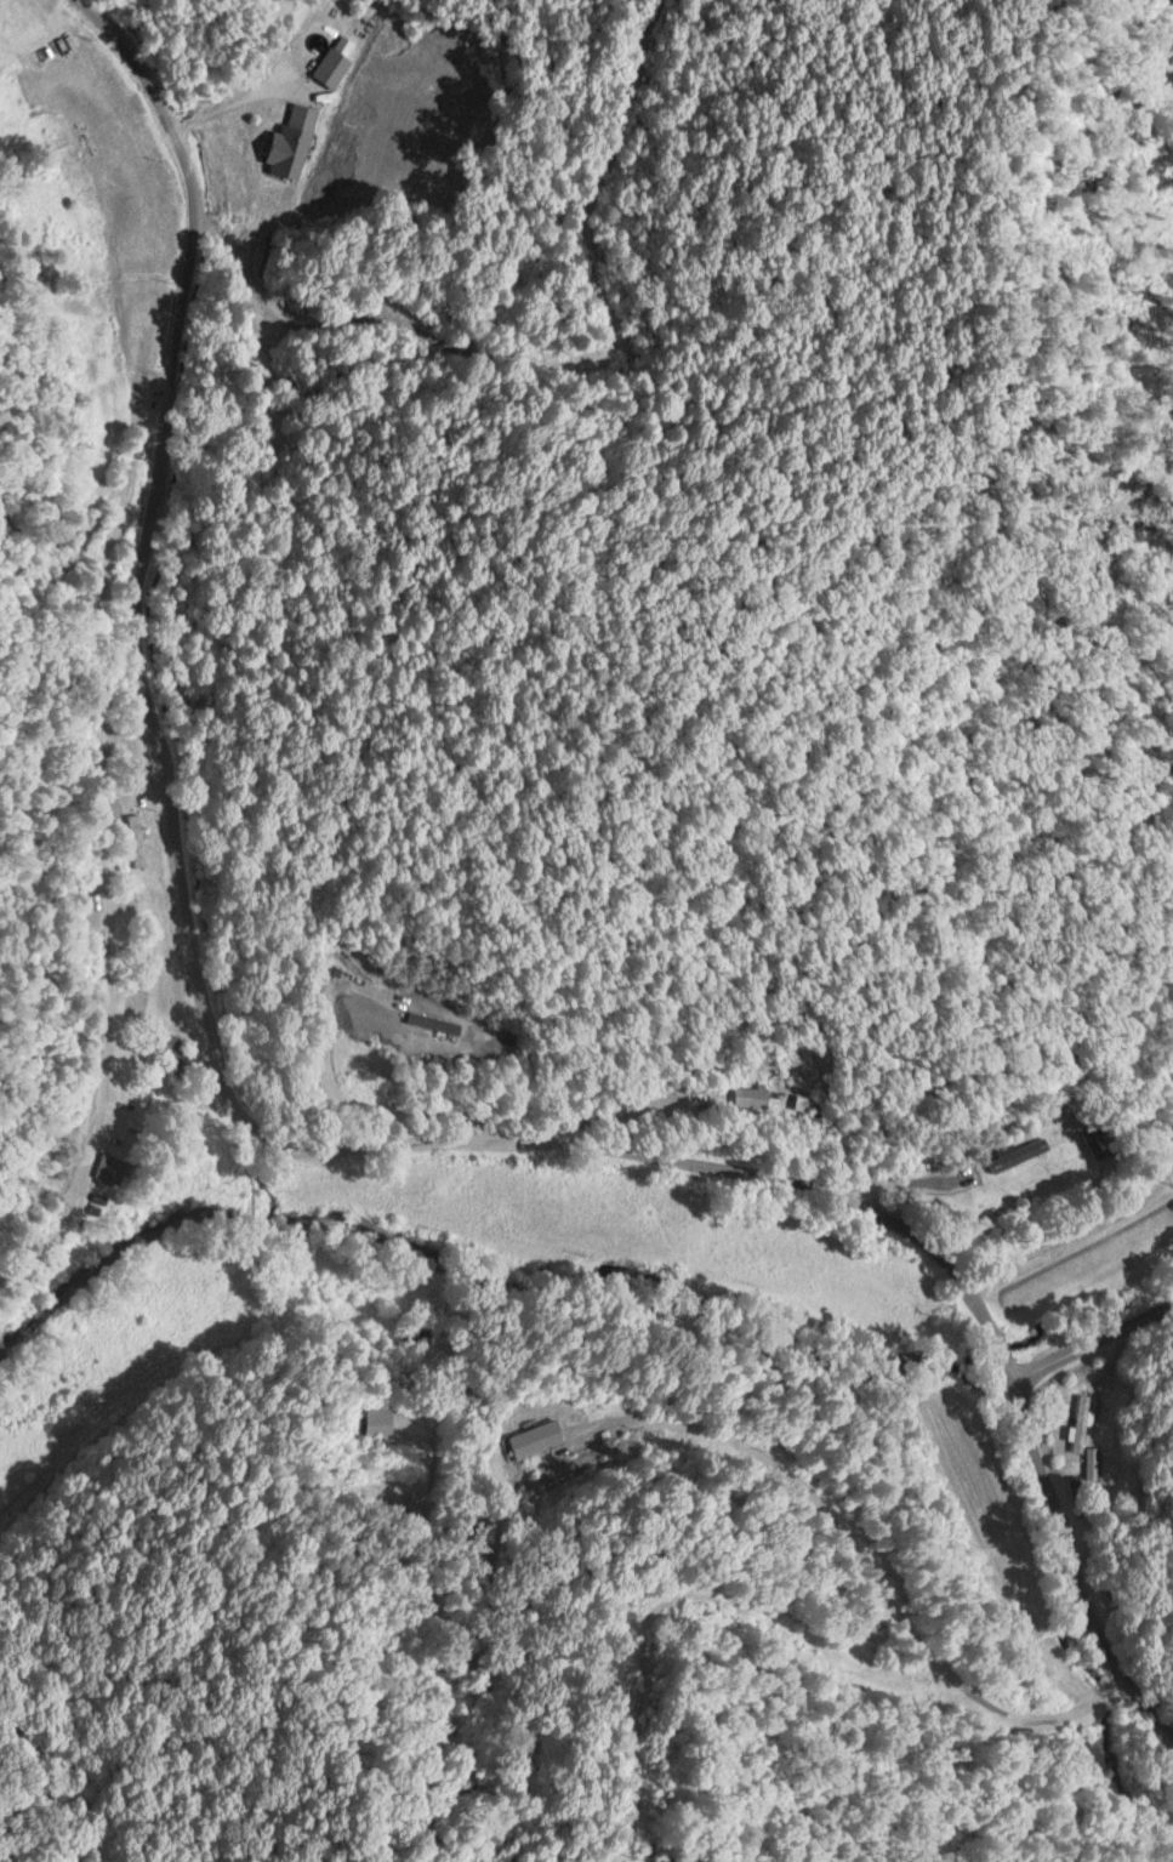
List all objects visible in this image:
building: (329, 68)
building: (291, 141)
road: (152, 534)
road: (91, 822)
building: (135, 841)
building: (329, 973)
building: (425, 1021)
building: (173, 1055)
building: (756, 1097)
building: (1017, 1155)
building: (110, 1168)
road: (745, 1173)
building: (375, 1422)
building: (1078, 1424)
building: (535, 1440)
road: (1074, 1565)

